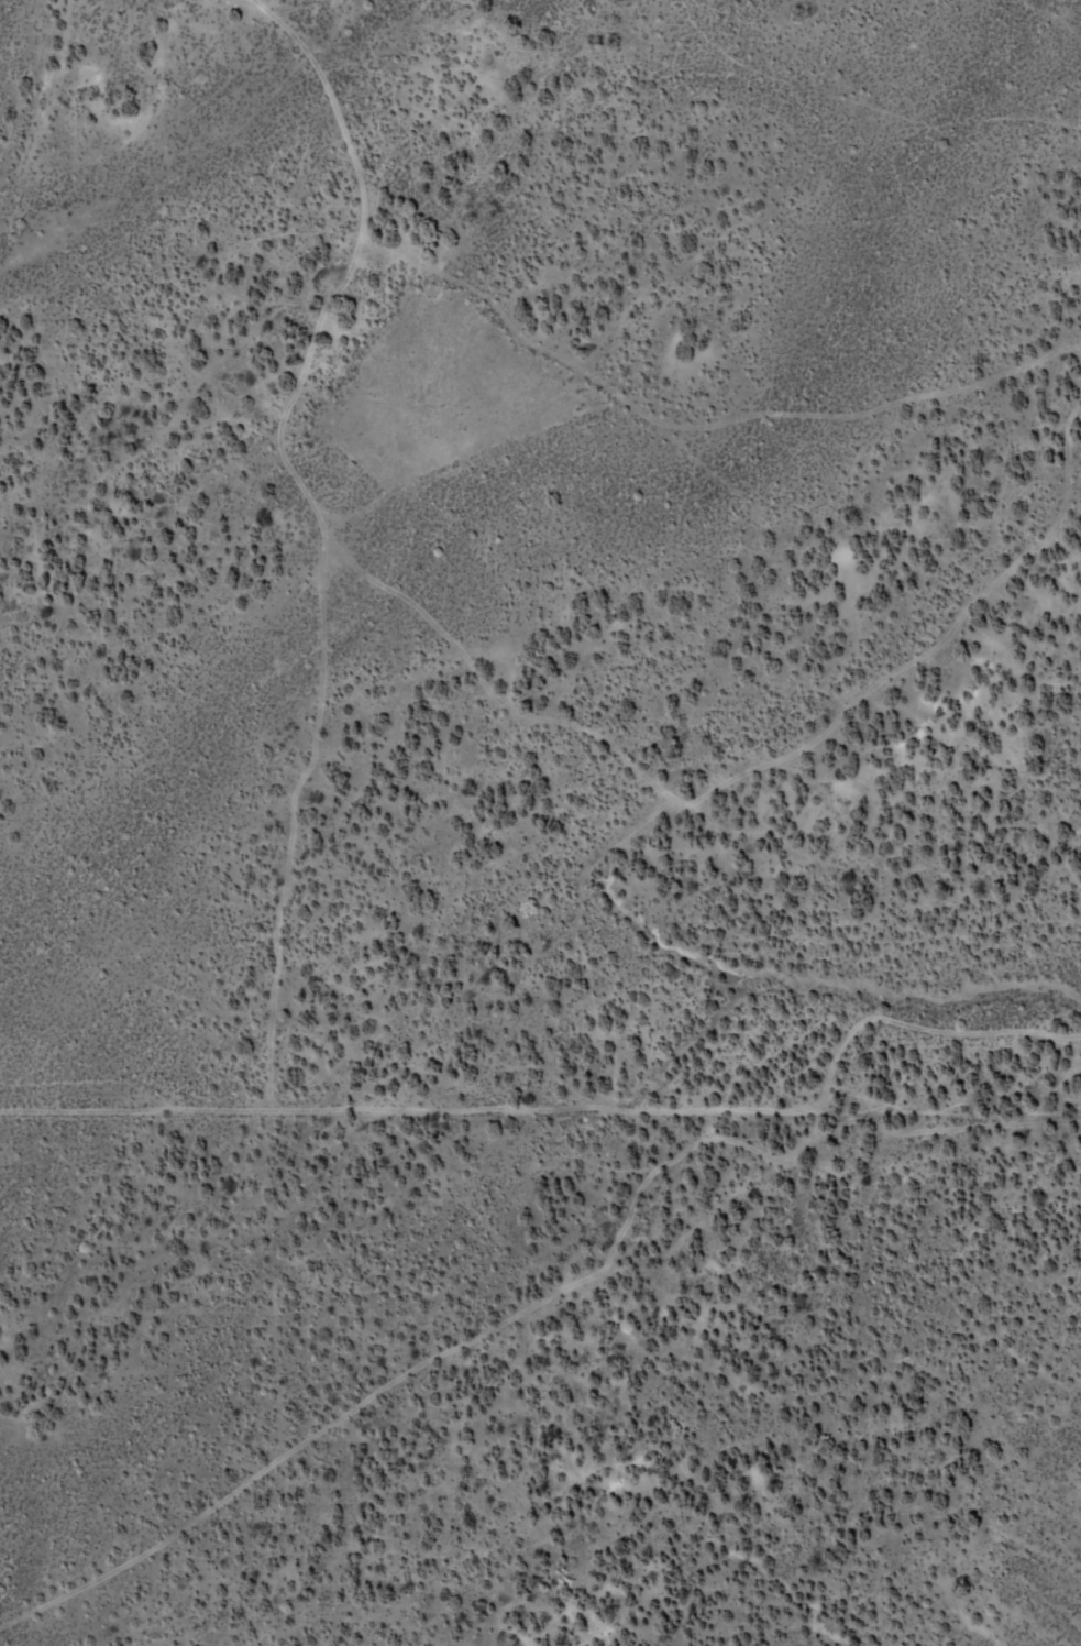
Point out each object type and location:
road: (37, 125)
road: (540, 1299)

